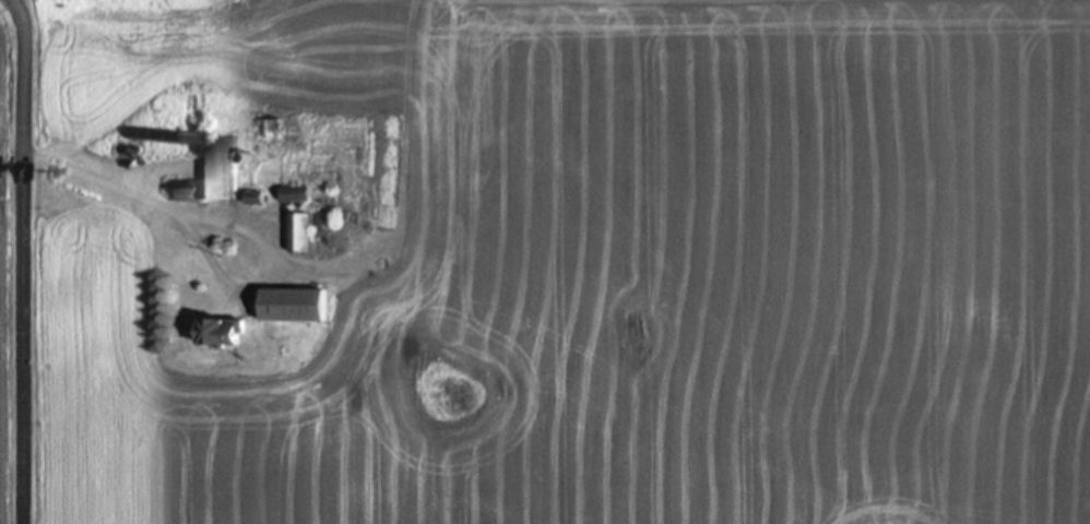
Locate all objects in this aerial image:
building: (266, 128)
building: (212, 172)
road: (103, 180)
building: (294, 193)
building: (299, 233)
road: (23, 260)
road: (261, 271)
building: (293, 305)
building: (218, 332)

